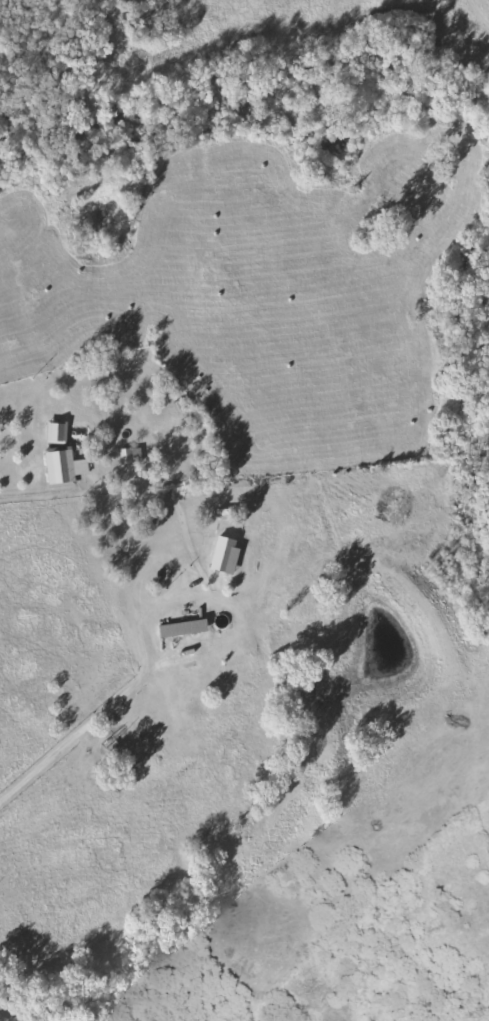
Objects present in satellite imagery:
building: (58, 433)
building: (132, 456)
building: (65, 468)
road: (39, 493)
building: (227, 555)
building: (185, 629)
road: (104, 723)
road: (6, 1009)

